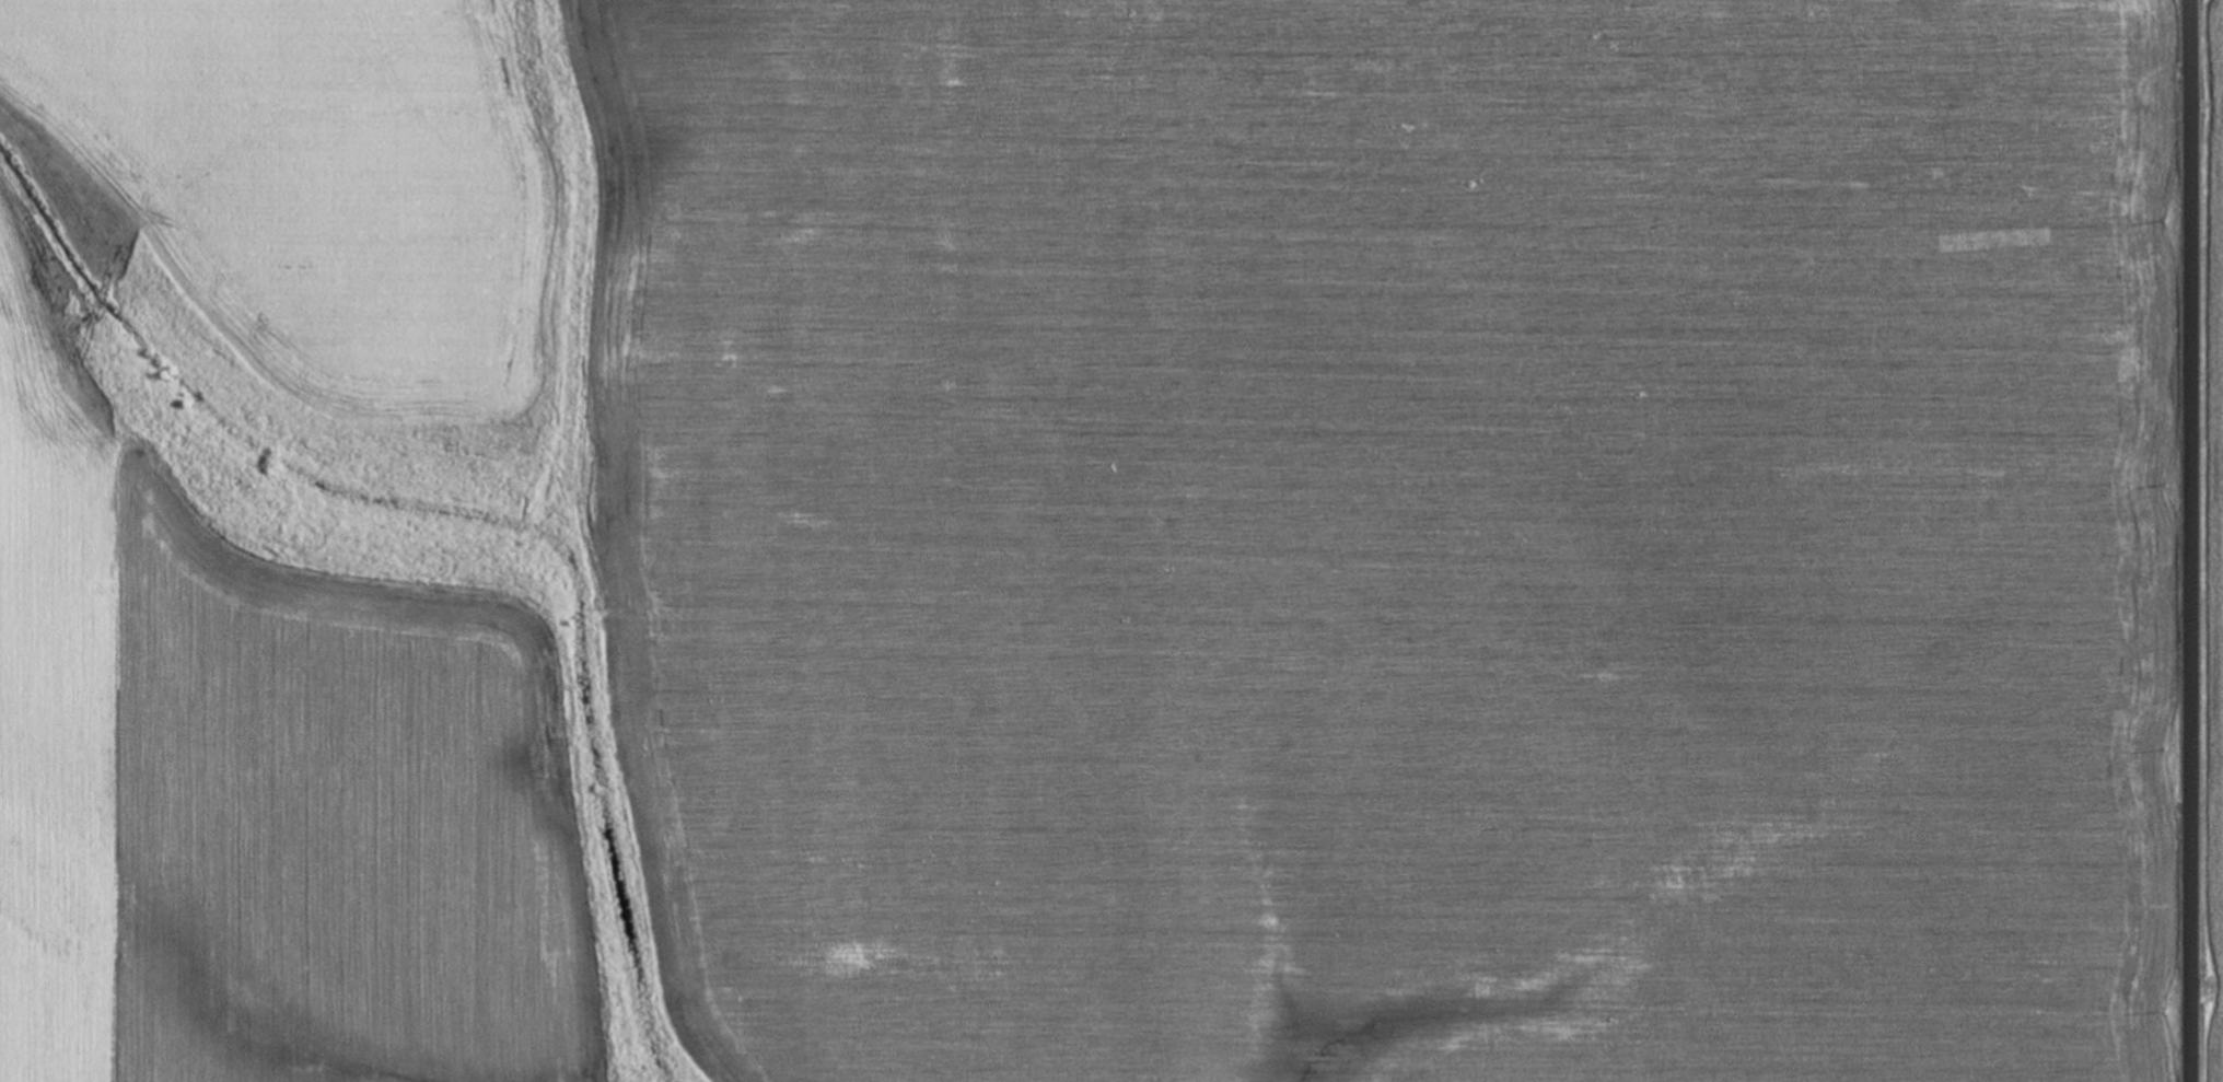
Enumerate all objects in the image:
road: (2156, 540)

